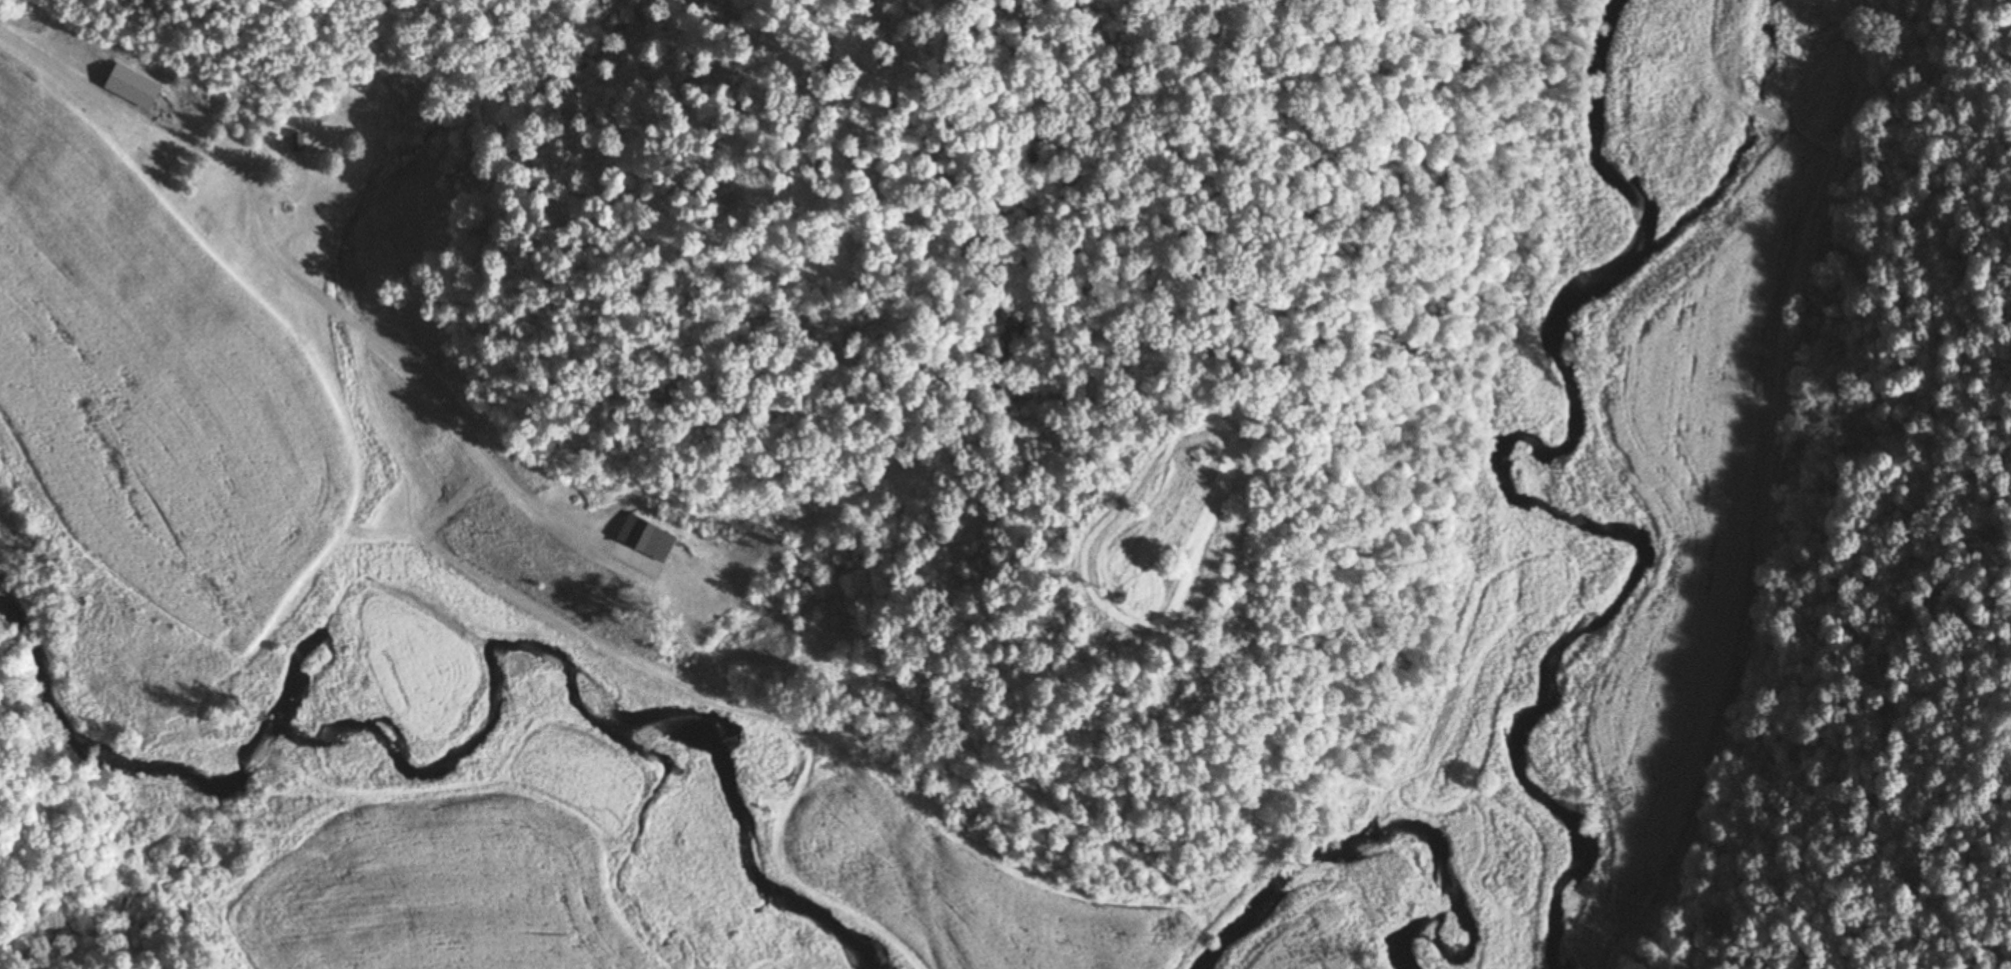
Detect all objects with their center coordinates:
road: (112, 94)
building: (291, 142)
road: (415, 355)
building: (633, 537)

